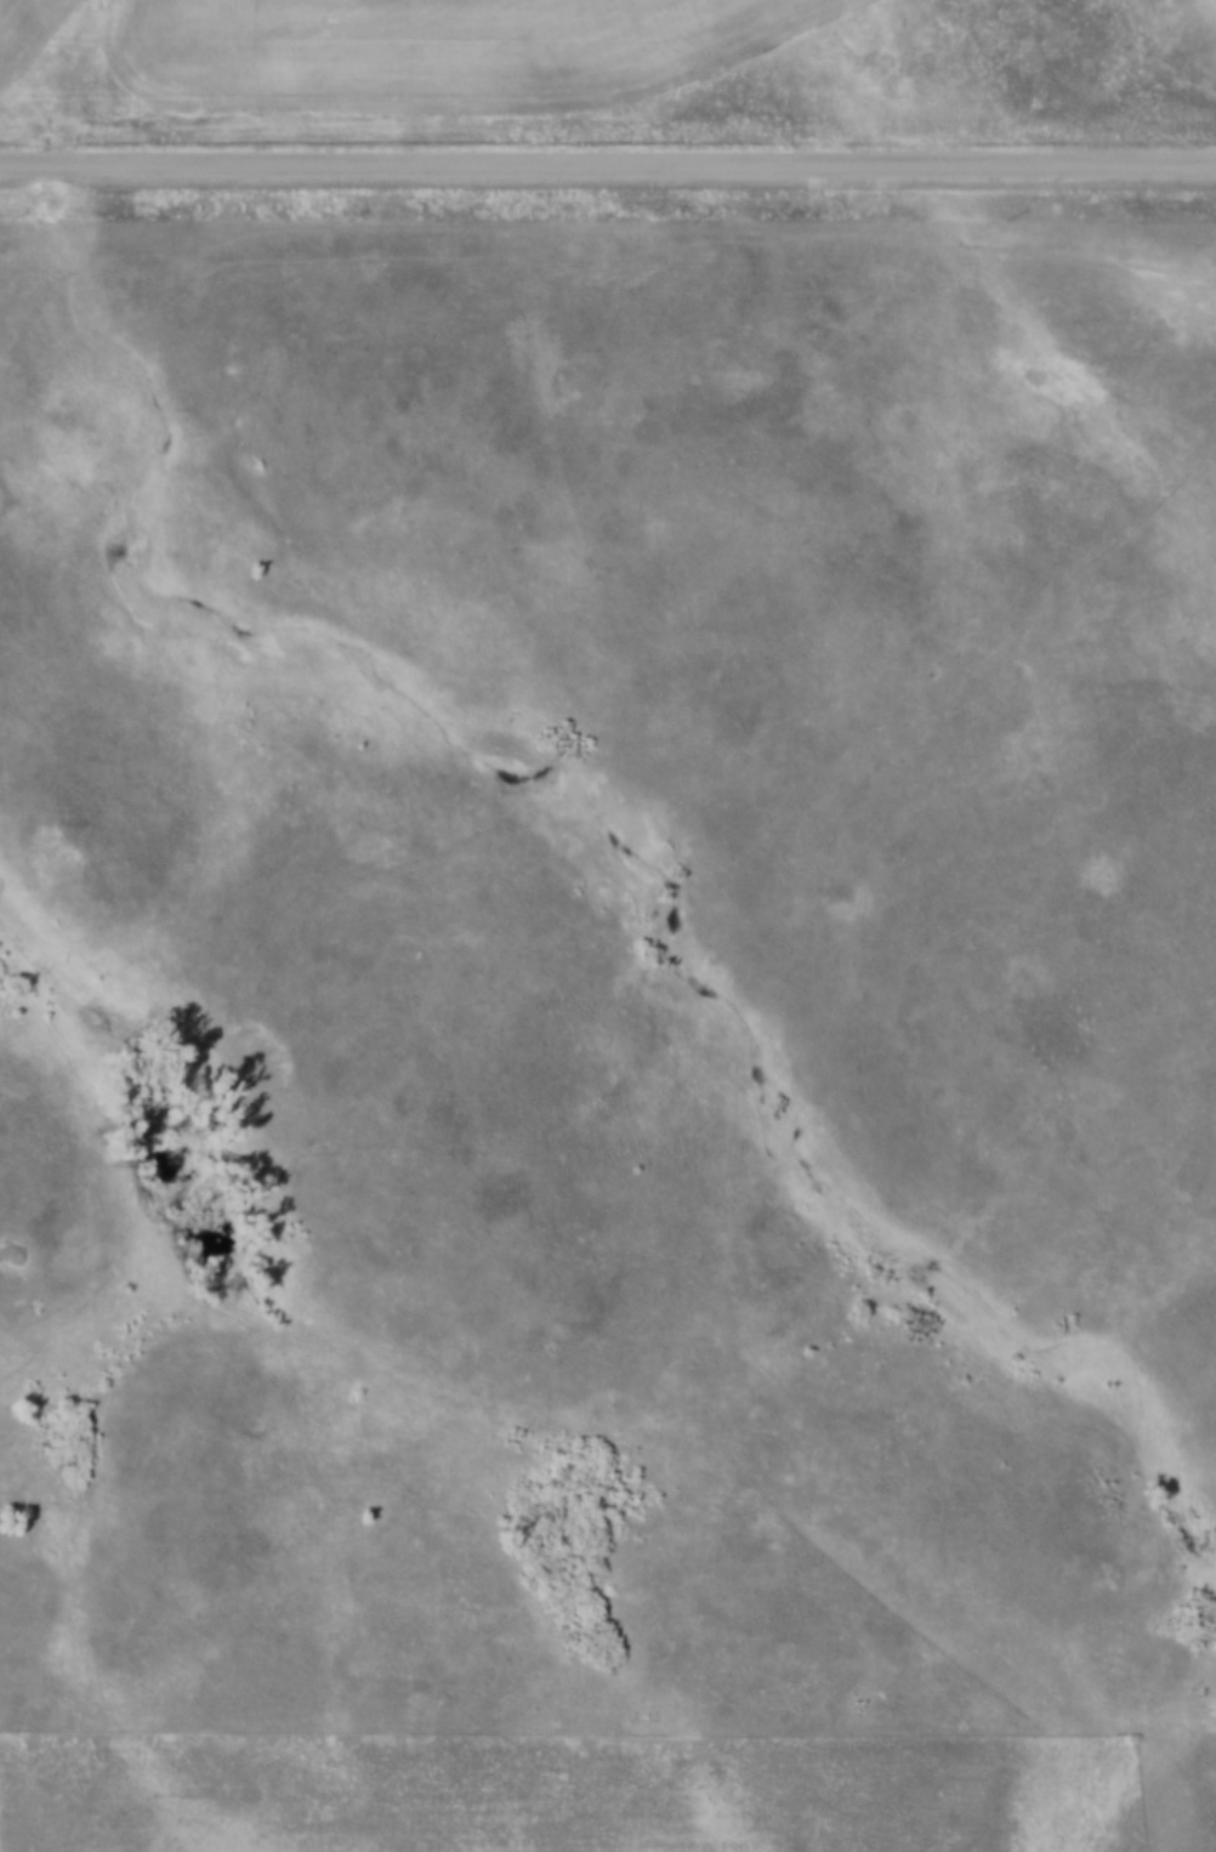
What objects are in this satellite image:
road: (608, 163)
building: (212, 1243)

